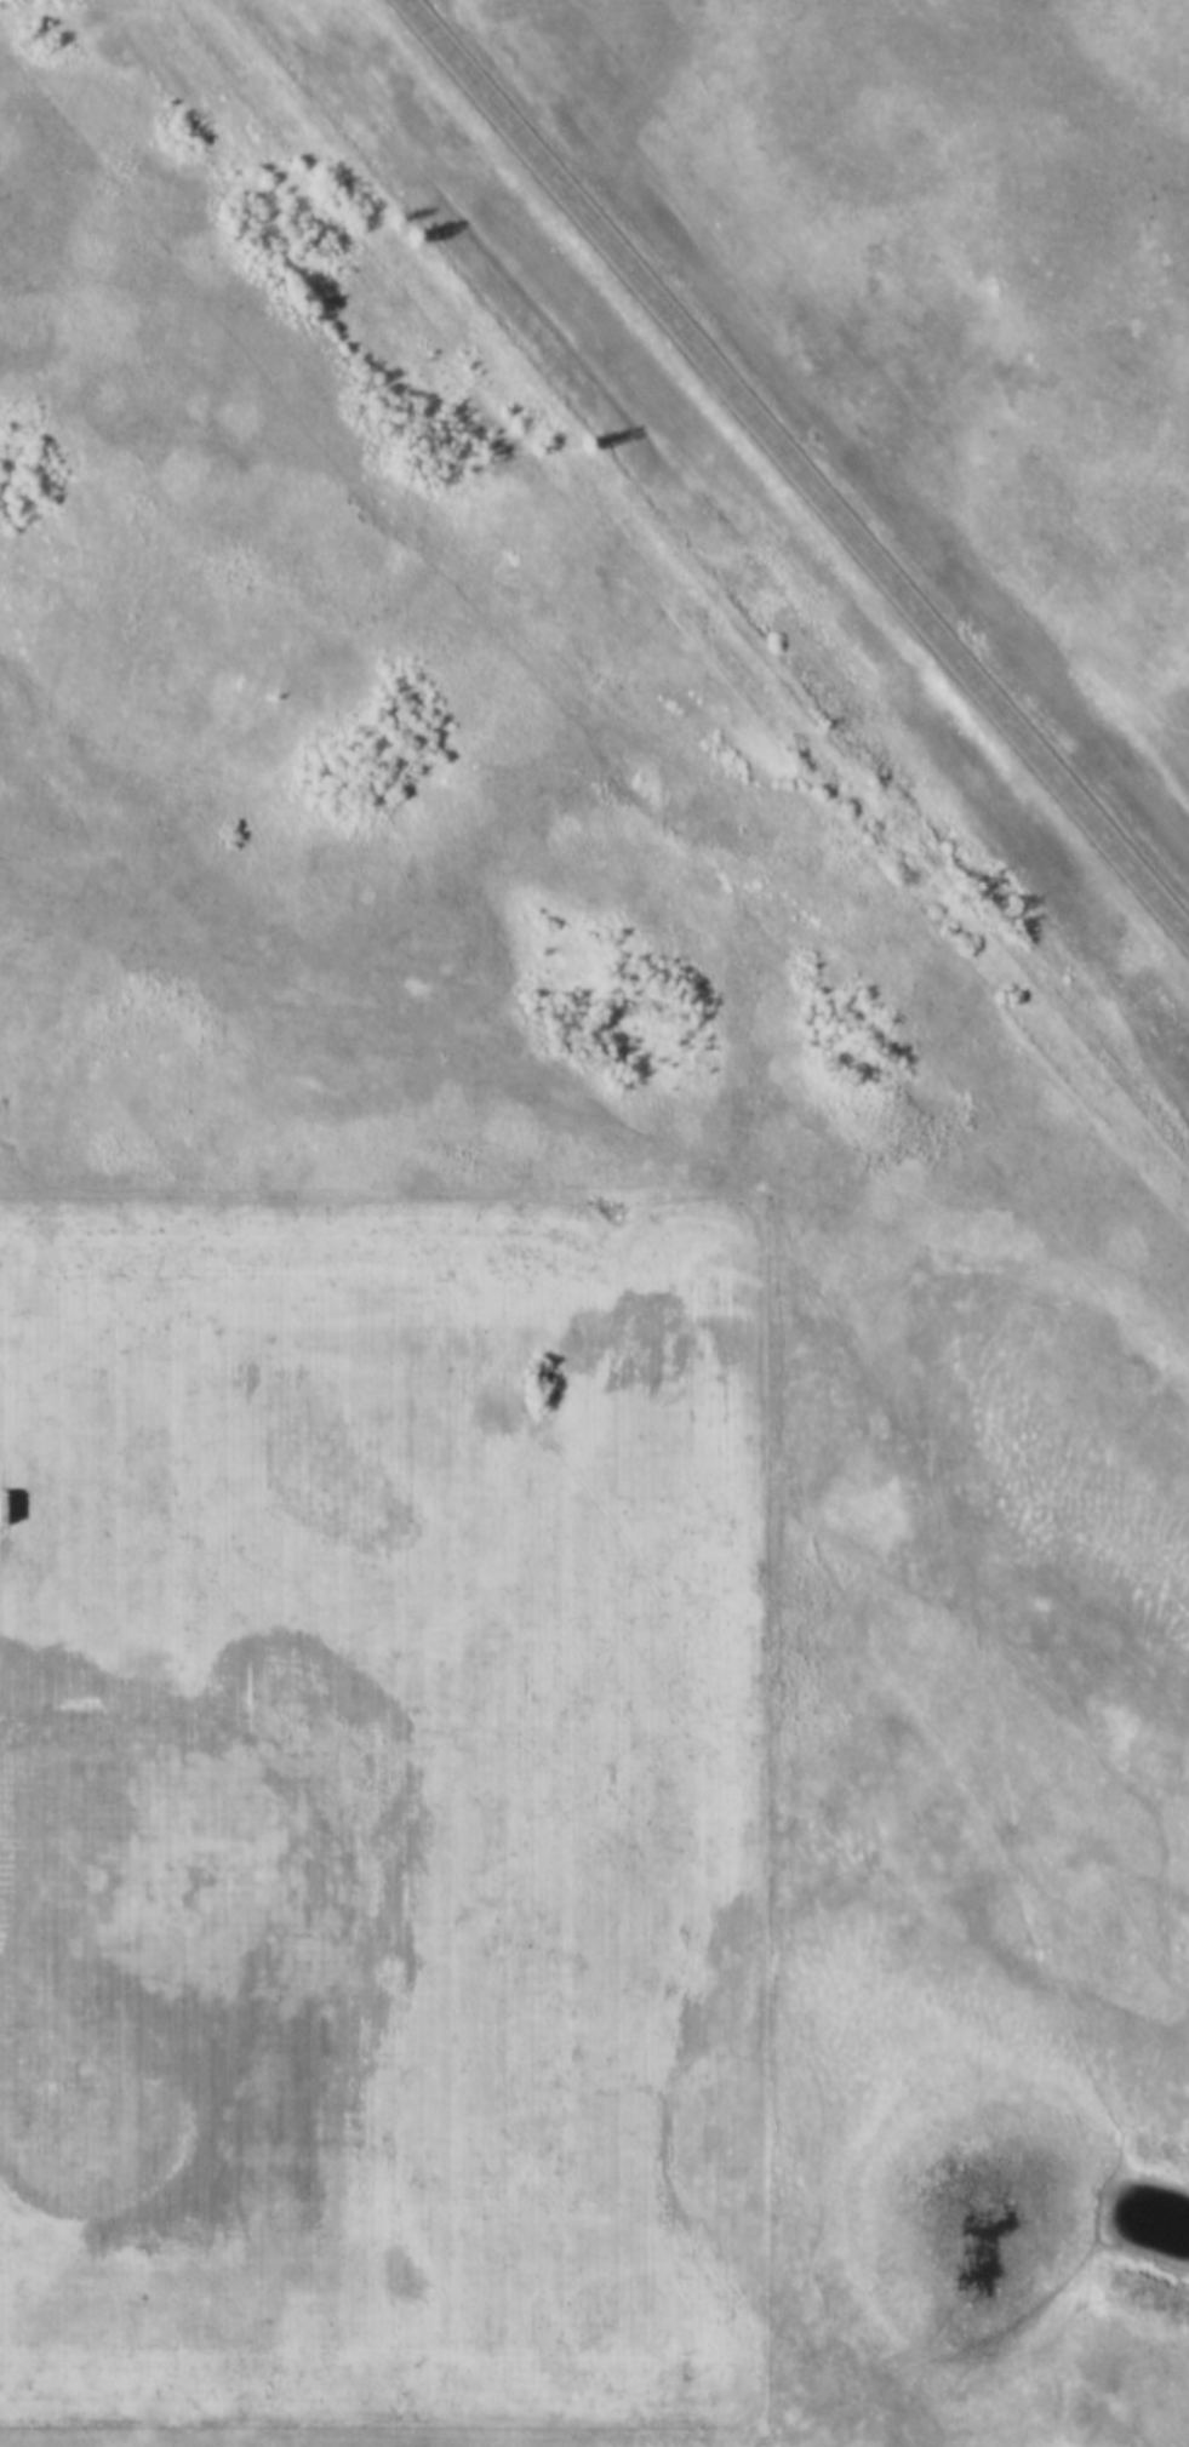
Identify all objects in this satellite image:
road: (800, 464)

